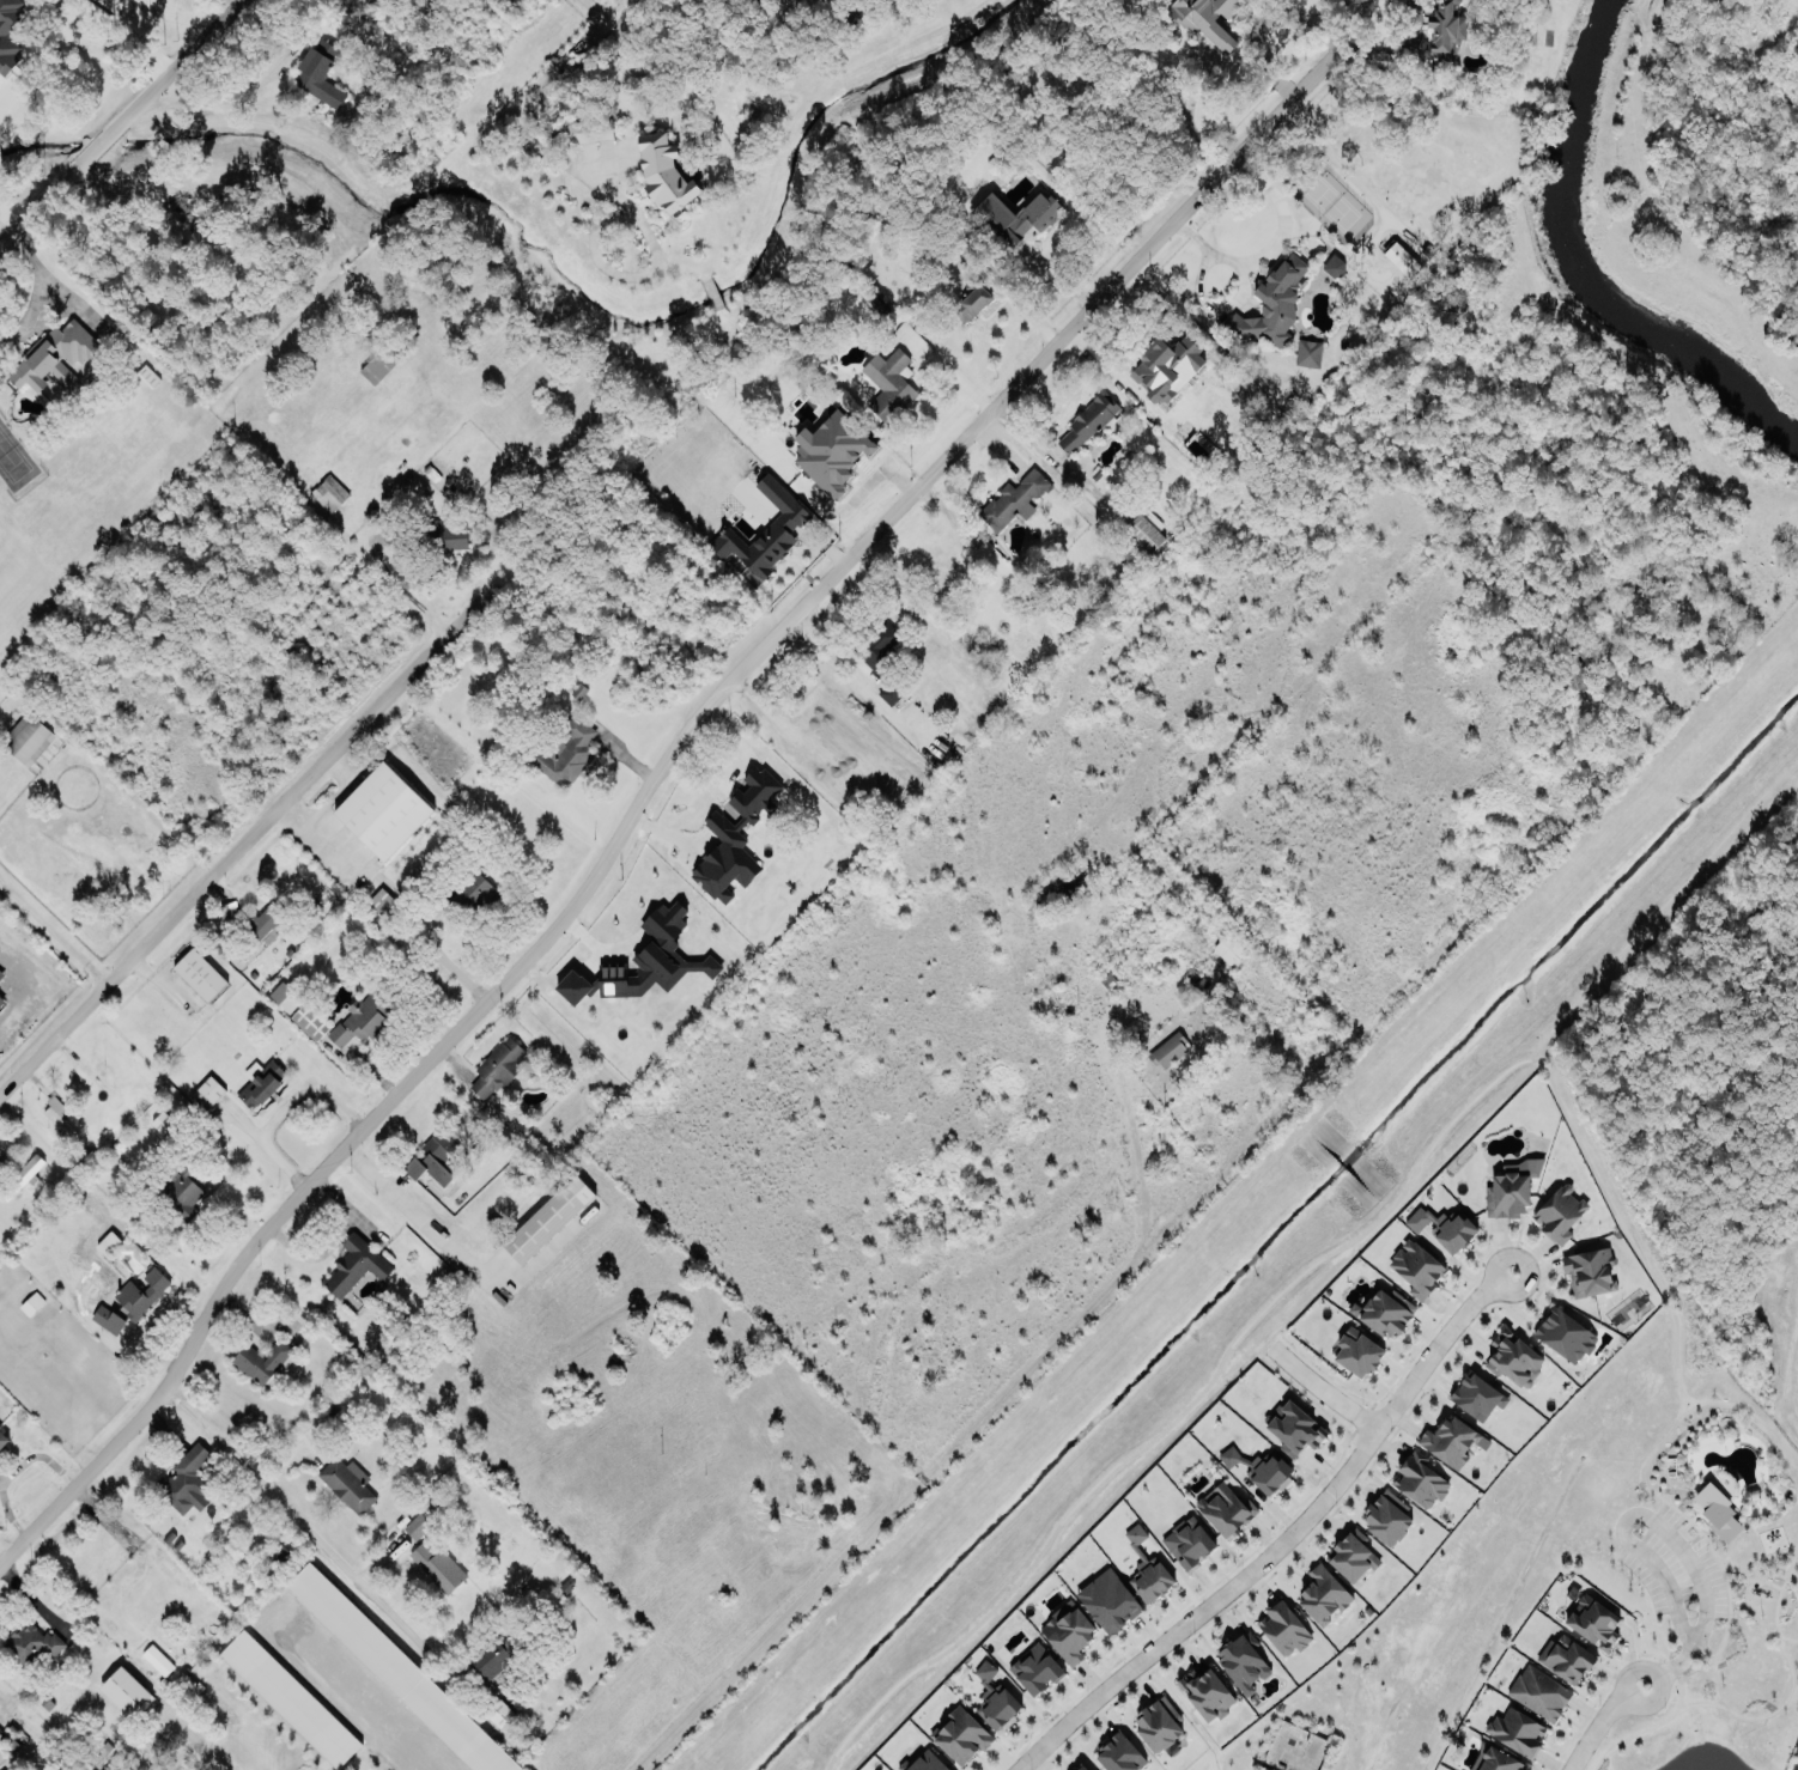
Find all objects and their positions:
road: (163, 12)
road: (600, 18)
building: (1208, 19)
road: (1351, 20)
building: (1445, 32)
building: (6, 43)
road: (124, 43)
road: (29, 63)
building: (321, 74)
road: (1186, 116)
road: (122, 121)
building: (589, 130)
road: (1337, 163)
building: (663, 174)
road: (590, 194)
building: (1014, 217)
road: (5, 218)
road: (1270, 248)
building: (1399, 257)
building: (1334, 267)
river: (1587, 270)
road: (42, 290)
building: (1274, 302)
building: (972, 303)
building: (1307, 354)
building: (53, 358)
building: (381, 363)
building: (1166, 367)
road: (955, 371)
building: (889, 384)
building: (1086, 424)
building: (328, 494)
building: (1013, 498)
building: (1144, 530)
building: (443, 536)
building: (751, 549)
road: (394, 584)
building: (877, 646)
building: (889, 692)
building: (26, 740)
building: (564, 754)
road: (650, 792)
building: (382, 811)
building: (734, 838)
road: (244, 846)
building: (478, 892)
building: (382, 904)
building: (266, 922)
road: (55, 930)
building: (1229, 950)
building: (644, 962)
building: (199, 974)
building: (0, 975)
road: (159, 983)
building: (284, 997)
building: (1, 998)
road: (10, 1014)
building: (309, 1022)
building: (359, 1022)
building: (1170, 1050)
building: (496, 1069)
building: (260, 1081)
building: (206, 1093)
road: (278, 1112)
building: (56, 1117)
building: (163, 1125)
building: (436, 1158)
building: (20, 1176)
building: (1512, 1187)
building: (182, 1190)
building: (1561, 1211)
road: (412, 1215)
building: (547, 1219)
building: (1456, 1231)
building: (353, 1265)
building: (1416, 1269)
building: (1591, 1271)
building: (140, 1294)
building: (1385, 1312)
building: (107, 1320)
road: (148, 1326)
building: (1566, 1334)
building: (1357, 1351)
building: (1512, 1357)
building: (261, 1361)
road: (1320, 1387)
building: (1476, 1397)
building: (1293, 1427)
building: (2, 1438)
building: (1450, 1440)
road: (966, 1447)
building: (1262, 1467)
building: (1419, 1480)
building: (183, 1482)
building: (348, 1483)
building: (1227, 1509)
building: (1715, 1510)
building: (1387, 1516)
building: (417, 1526)
road: (1663, 1527)
road: (309, 1533)
road: (1278, 1538)
building: (1187, 1543)
building: (1354, 1555)
building: (279, 1558)
building: (437, 1567)
building: (1146, 1569)
building: (1324, 1595)
building: (1108, 1601)
building: (1592, 1622)
building: (1284, 1628)
building: (1067, 1632)
building: (32, 1644)
building: (496, 1655)
building: (1565, 1659)
building: (156, 1660)
building: (1241, 1662)
building: (1035, 1668)
building: (396, 1672)
building: (124, 1692)
building: (1538, 1692)
building: (1205, 1693)
road: (351, 1696)
building: (290, 1699)
building: (996, 1699)
road: (7, 1703)
road: (1600, 1719)
building: (1159, 1723)
building: (1518, 1731)
building: (960, 1733)
building: (1, 1734)
building: (1797, 1752)
building: (1118, 1754)
building: (1495, 1759)
building: (923, 1762)
building: (1081, 1768)

